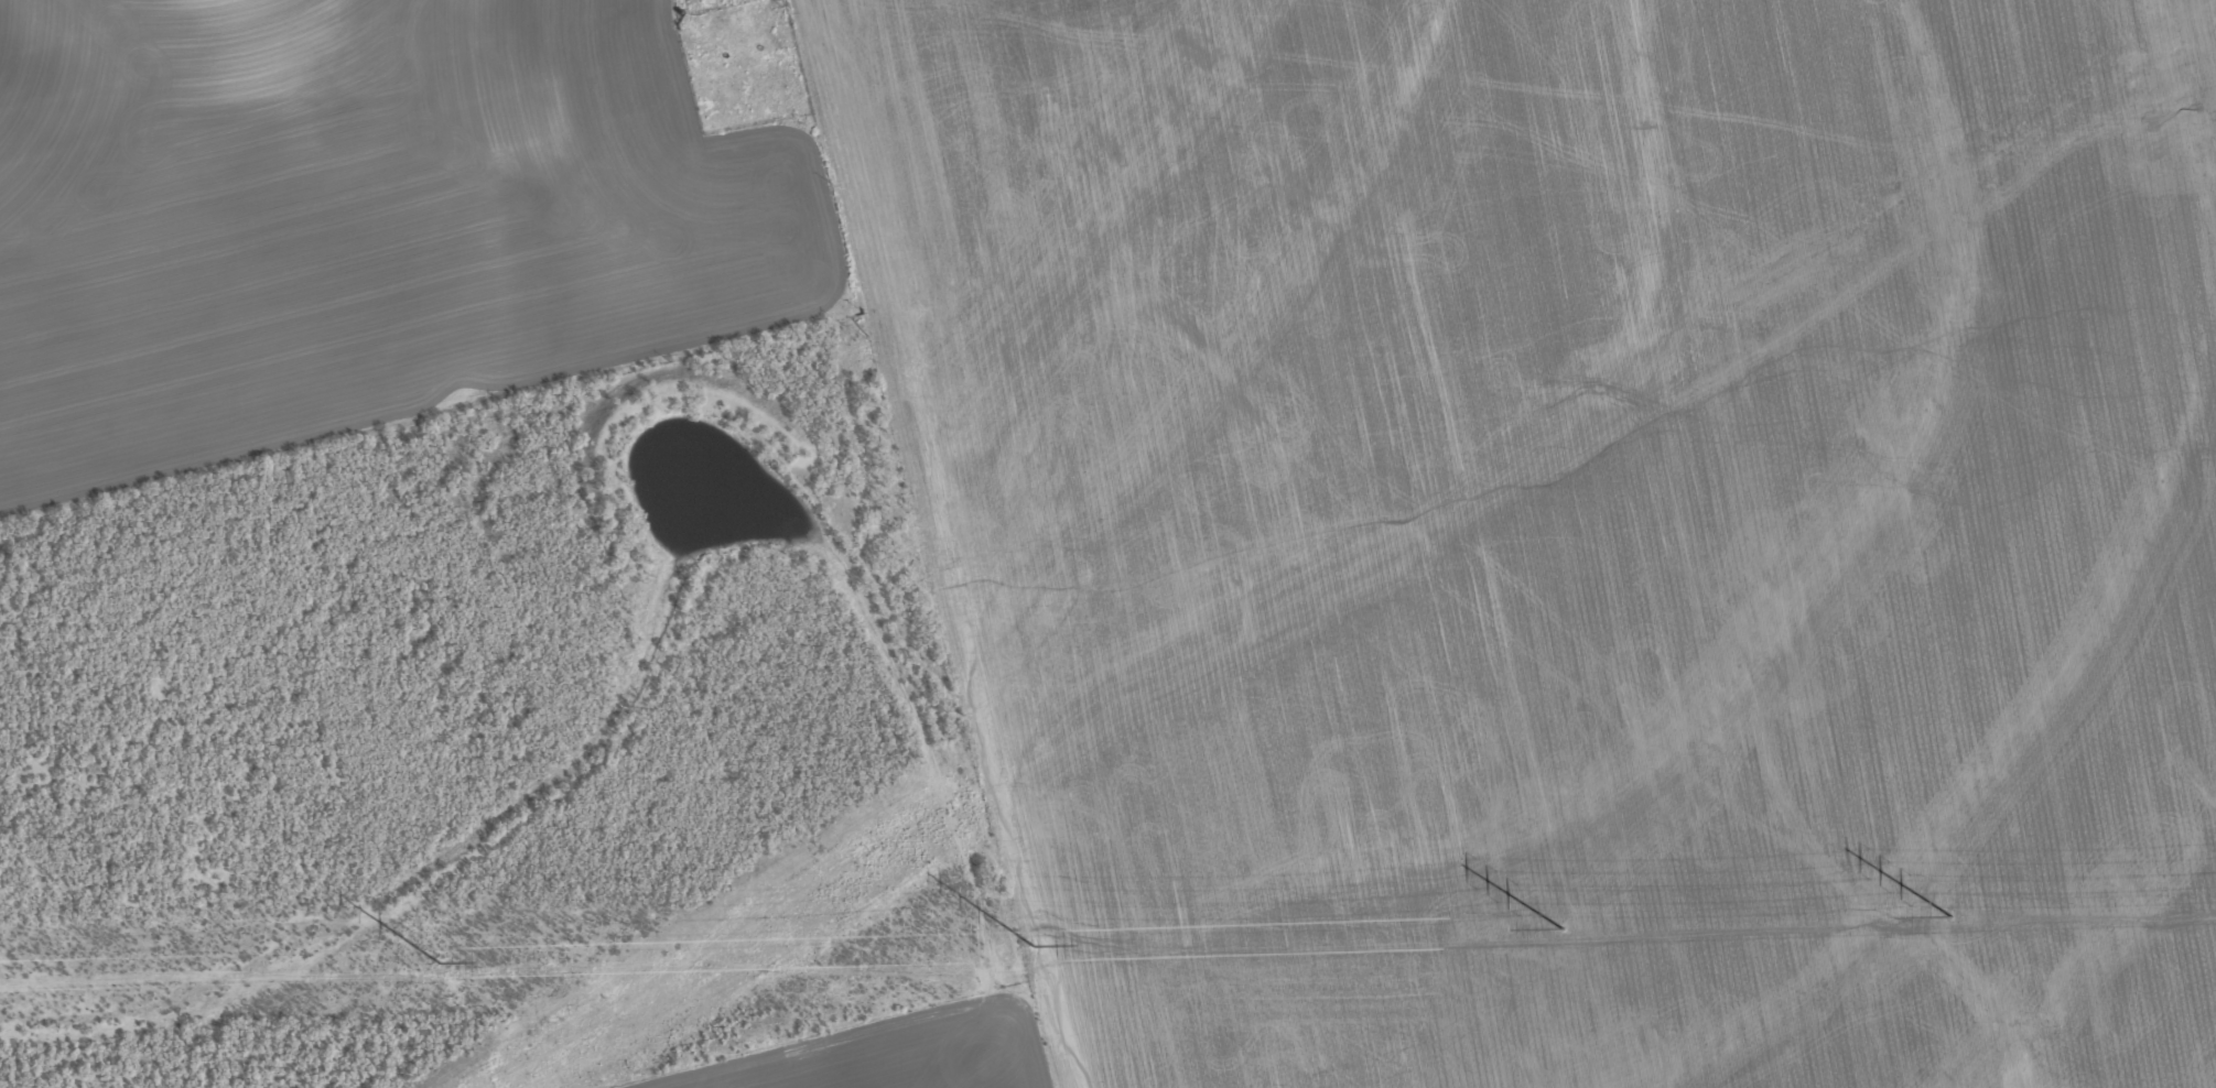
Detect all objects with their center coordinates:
power tower: (1953, 915)
power tower: (1564, 928)
power tower: (1033, 945)
power tower: (437, 961)

